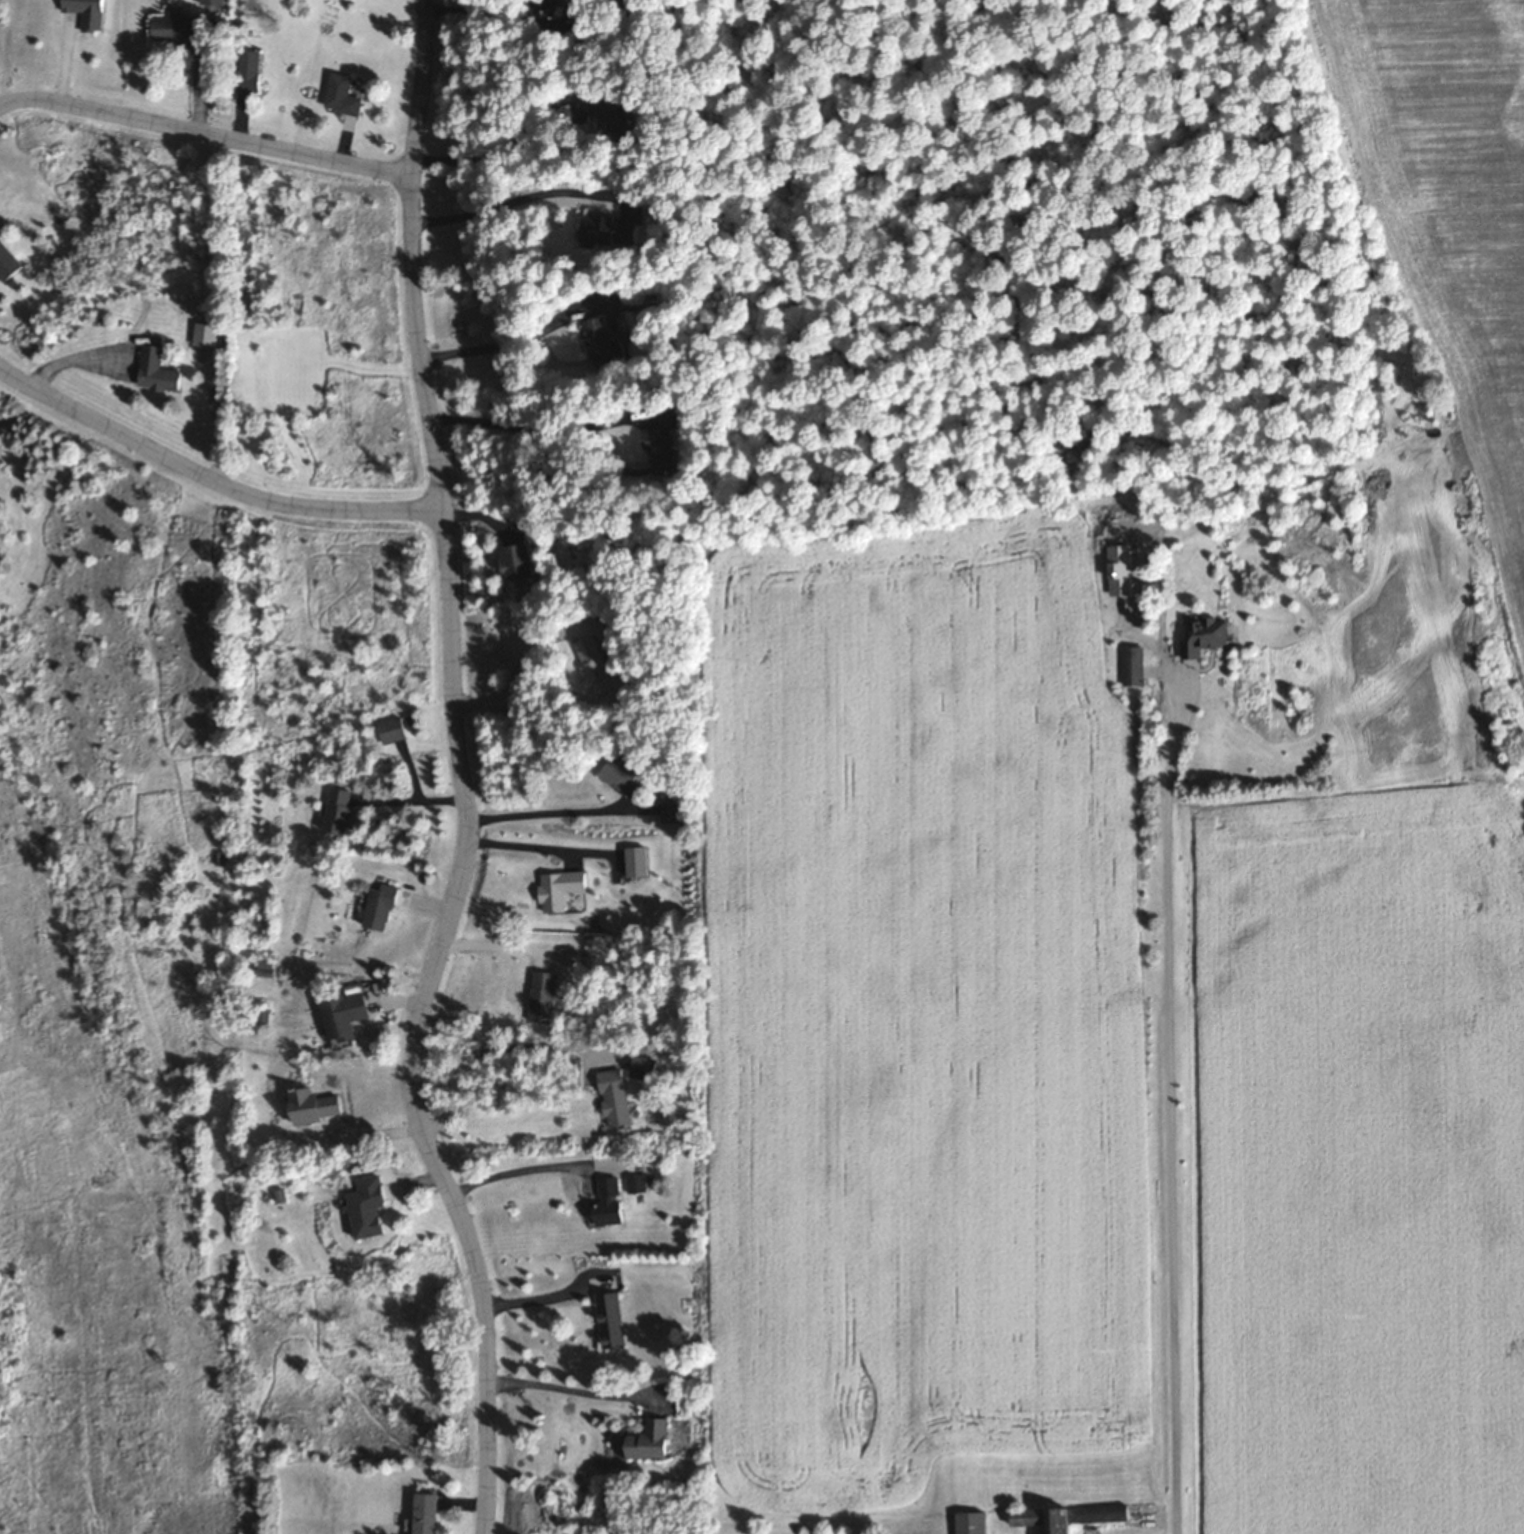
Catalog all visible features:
building: (544, 3)
building: (86, 12)
building: (179, 26)
building: (247, 69)
building: (341, 93)
building: (613, 111)
road: (204, 133)
building: (613, 229)
building: (7, 261)
building: (601, 342)
building: (157, 369)
building: (662, 438)
road: (208, 479)
building: (518, 560)
building: (1207, 635)
building: (593, 664)
building: (1132, 665)
building: (391, 728)
building: (614, 771)
road: (464, 776)
building: (338, 809)
building: (670, 812)
building: (558, 888)
building: (379, 906)
building: (264, 968)
building: (541, 996)
building: (340, 1018)
building: (641, 1066)
building: (614, 1097)
building: (314, 1105)
building: (635, 1183)
building: (608, 1201)
building: (369, 1205)
building: (607, 1318)
building: (651, 1440)
building: (426, 1513)
building: (1067, 1516)
building: (971, 1522)

